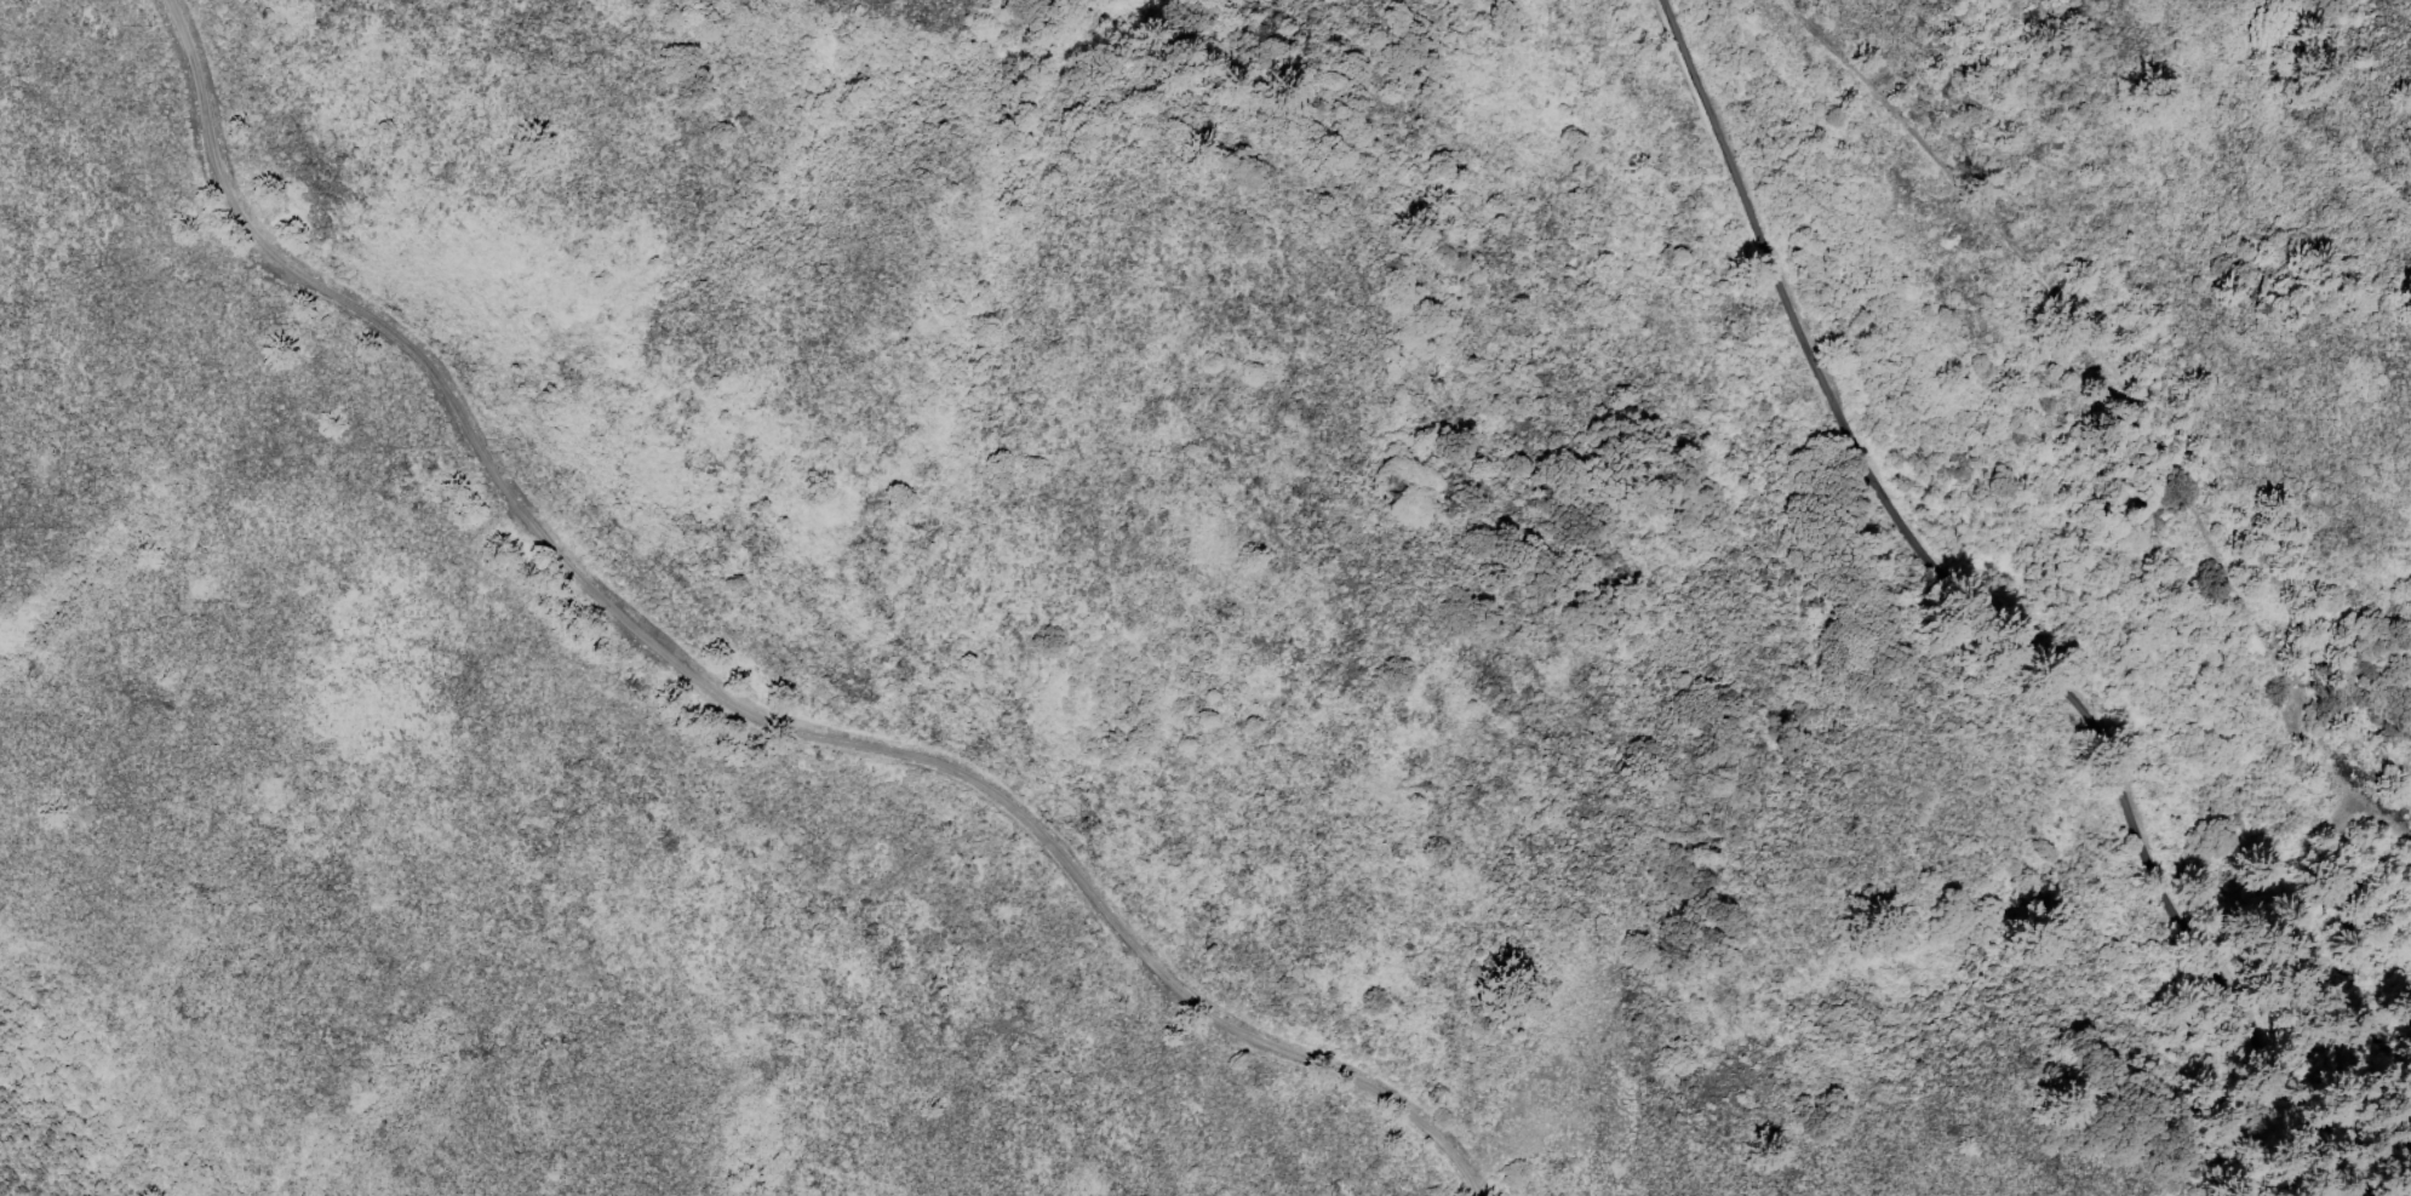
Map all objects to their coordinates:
road: (1995, 600)
road: (729, 699)

